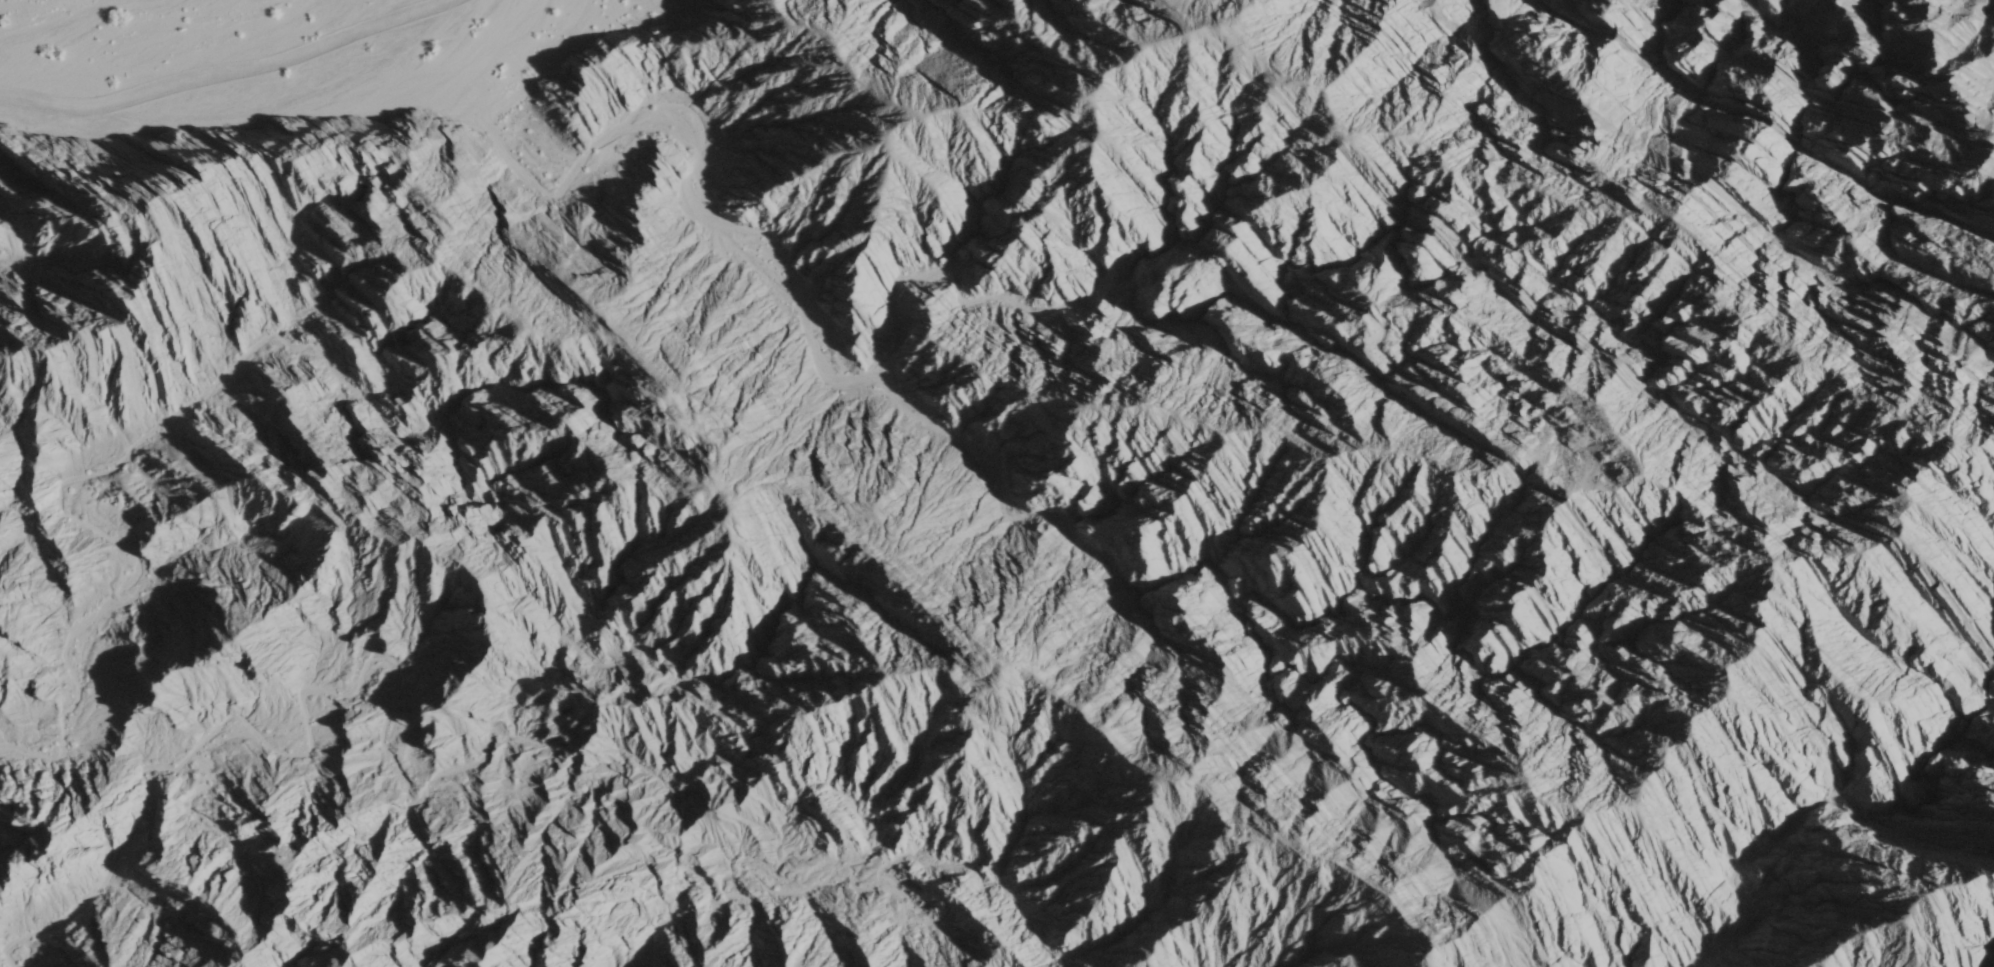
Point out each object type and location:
road: (57, 23)

